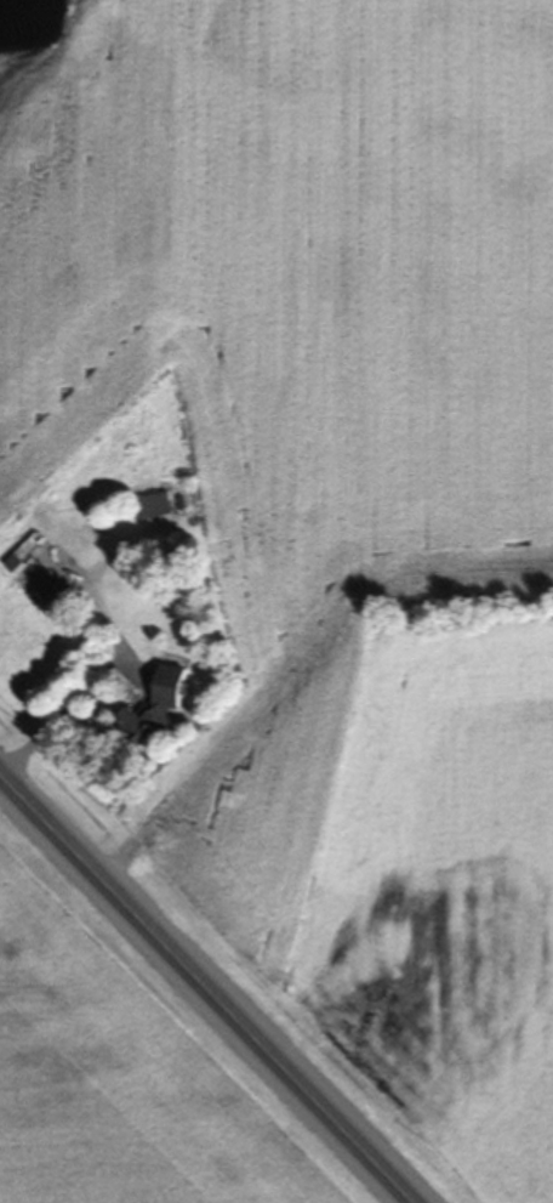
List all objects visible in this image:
building: (158, 509)
building: (69, 555)
building: (159, 709)
road: (59, 719)
road: (205, 988)

